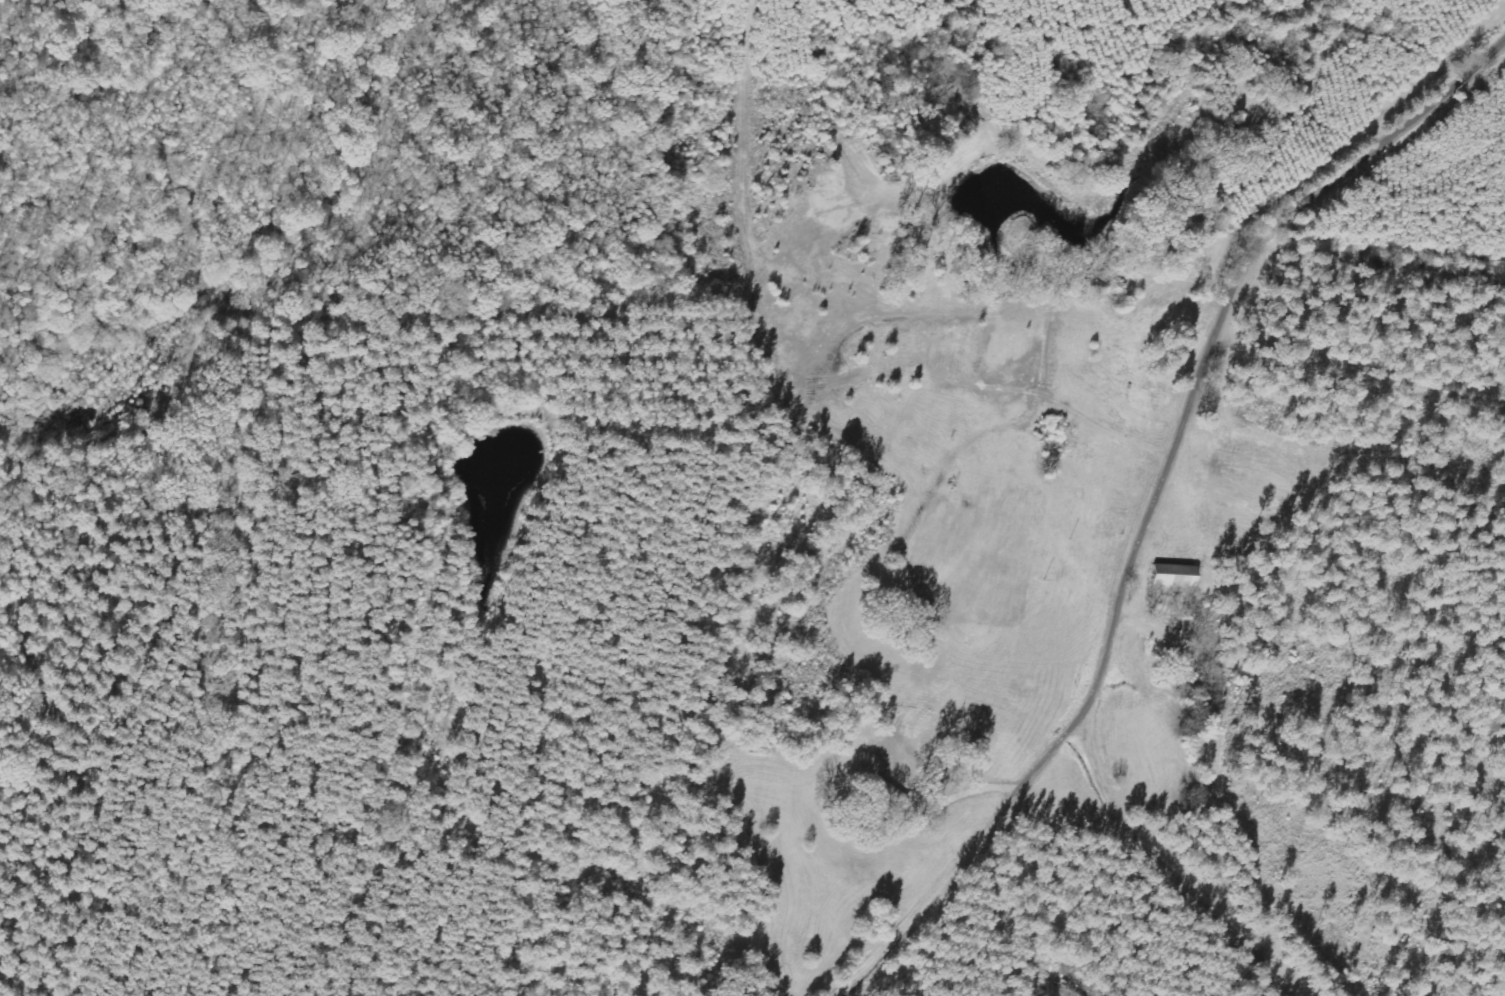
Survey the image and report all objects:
building: (1175, 581)

